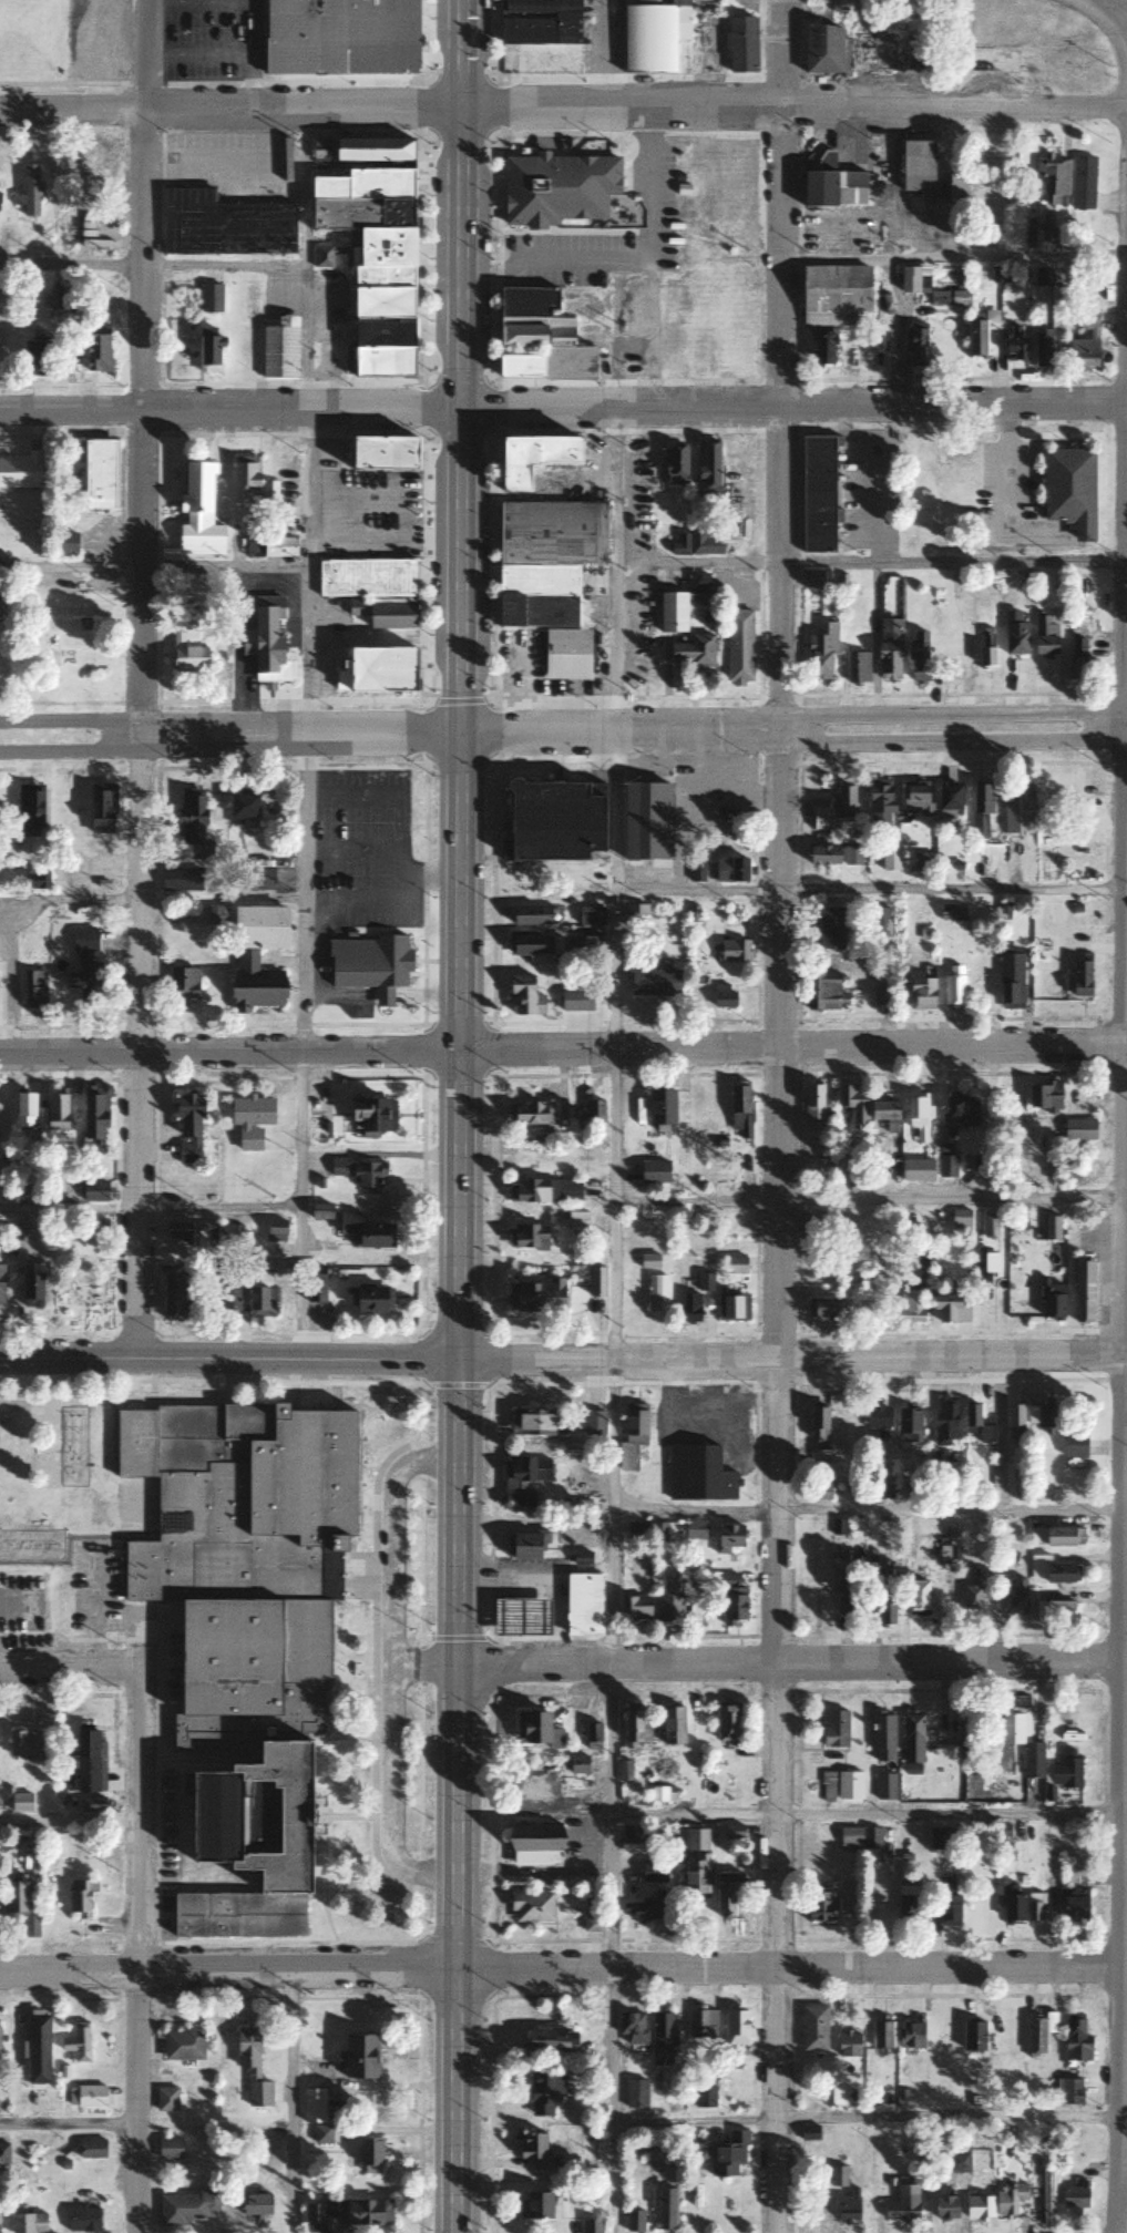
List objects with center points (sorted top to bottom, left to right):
building: (837, 1)
road: (1085, 7)
road: (1115, 14)
building: (540, 22)
building: (338, 37)
building: (648, 38)
road: (1119, 41)
building: (740, 45)
building: (98, 48)
building: (846, 52)
building: (64, 57)
road: (791, 109)
road: (227, 110)
building: (918, 170)
building: (1053, 178)
building: (1083, 183)
building: (832, 186)
building: (950, 187)
building: (557, 190)
building: (30, 191)
building: (360, 213)
building: (222, 224)
building: (1048, 229)
building: (322, 258)
road: (799, 258)
road: (151, 264)
building: (1002, 274)
building: (1042, 276)
building: (909, 279)
building: (834, 296)
building: (209, 298)
building: (946, 298)
building: (739, 335)
building: (539, 342)
building: (1085, 342)
building: (916, 345)
building: (1016, 345)
building: (96, 348)
building: (1042, 348)
building: (279, 349)
building: (823, 349)
building: (208, 350)
building: (32, 358)
building: (381, 362)
road: (791, 404)
road: (227, 408)
building: (381, 454)
building: (532, 459)
building: (674, 467)
building: (707, 470)
building: (20, 472)
building: (98, 475)
building: (244, 477)
building: (1069, 488)
building: (817, 494)
building: (197, 513)
building: (997, 537)
building: (704, 543)
building: (63, 544)
building: (262, 547)
road: (869, 561)
road: (152, 567)
building: (549, 577)
building: (811, 580)
building: (372, 591)
building: (672, 613)
building: (1014, 635)
building: (1044, 636)
building: (266, 644)
building: (177, 645)
building: (738, 648)
building: (691, 653)
building: (888, 653)
building: (821, 654)
building: (918, 658)
building: (985, 658)
building: (1076, 660)
building: (857, 669)
building: (375, 672)
road: (141, 679)
road: (951, 715)
road: (71, 721)
road: (618, 730)
road: (299, 731)
road: (303, 735)
road: (951, 742)
road: (71, 751)
building: (914, 797)
building: (949, 802)
building: (844, 803)
building: (879, 805)
building: (1016, 808)
building: (29, 809)
building: (100, 809)
building: (242, 809)
building: (980, 811)
building: (821, 819)
building: (553, 821)
building: (191, 822)
building: (645, 822)
building: (851, 856)
building: (822, 857)
building: (890, 860)
building: (730, 870)
building: (697, 871)
building: (181, 879)
building: (256, 880)
road: (871, 889)
road: (69, 900)
building: (952, 913)
building: (216, 915)
building: (530, 915)
building: (635, 915)
building: (590, 916)
building: (879, 922)
building: (257, 929)
building: (830, 929)
building: (533, 944)
building: (591, 944)
building: (734, 952)
building: (83, 965)
building: (369, 965)
building: (1010, 977)
building: (1080, 980)
building: (654, 983)
building: (182, 985)
building: (255, 985)
building: (953, 986)
building: (34, 990)
building: (824, 992)
building: (921, 995)
building: (723, 996)
building: (883, 996)
building: (523, 997)
building: (575, 1001)
road: (792, 1046)
road: (228, 1051)
building: (1044, 1097)
building: (812, 1105)
building: (853, 1106)
building: (22, 1112)
building: (593, 1112)
building: (739, 1112)
building: (660, 1113)
building: (54, 1114)
building: (530, 1115)
building: (959, 1115)
road: (458, 1116)
road: (778, 1116)
building: (884, 1116)
building: (92, 1118)
building: (368, 1118)
building: (250, 1121)
building: (916, 1121)
building: (187, 1130)
building: (1078, 1130)
building: (945, 1167)
building: (916, 1171)
building: (654, 1174)
building: (361, 1176)
building: (877, 1179)
building: (93, 1192)
building: (543, 1192)
road: (865, 1199)
road: (147, 1209)
building: (319, 1213)
building: (960, 1220)
road: (1118, 1220)
building: (575, 1222)
building: (813, 1225)
building: (96, 1228)
building: (988, 1228)
building: (1051, 1230)
building: (0, 1232)
building: (275, 1233)
building: (363, 1233)
building: (203, 1236)
building: (526, 1239)
building: (648, 1263)
building: (734, 1267)
building: (985, 1273)
building: (595, 1283)
building: (704, 1283)
building: (1, 1285)
building: (78, 1285)
building: (314, 1287)
building: (260, 1291)
building: (30, 1292)
building: (1083, 1292)
building: (656, 1294)
building: (228, 1295)
building: (535, 1298)
building: (174, 1299)
building: (369, 1301)
building: (1051, 1302)
building: (910, 1308)
building: (689, 1309)
building: (732, 1309)
building: (822, 1310)
building: (950, 1310)
road: (613, 1319)
road: (792, 1358)
road: (229, 1360)
building: (1041, 1417)
building: (877, 1420)
building: (944, 1422)
building: (534, 1423)
building: (1014, 1423)
building: (593, 1424)
building: (975, 1425)
building: (908, 1426)
building: (818, 1427)
road: (997, 1433)
building: (633, 1435)
building: (708, 1452)
building: (1017, 1464)
building: (521, 1481)
building: (817, 1493)
road: (864, 1510)
building: (695, 1530)
building: (656, 1533)
building: (1057, 1537)
building: (727, 1538)
building: (524, 1544)
building: (581, 1557)
building: (882, 1569)
building: (1051, 1570)
building: (843, 1591)
building: (972, 1595)
building: (1016, 1595)
building: (916, 1597)
building: (730, 1598)
road: (20, 1604)
building: (581, 1604)
building: (669, 1606)
building: (633, 1609)
building: (1055, 1610)
building: (885, 1612)
building: (521, 1614)
building: (244, 1629)
road: (787, 1663)
road: (391, 1667)
road: (424, 1667)
road: (68, 1671)
building: (727, 1722)
building: (635, 1724)
building: (670, 1724)
building: (1011, 1724)
building: (536, 1729)
building: (834, 1729)
building: (594, 1732)
building: (882, 1735)
building: (912, 1738)
building: (24, 1744)
building: (1033, 1759)
building: (577, 1764)
building: (624, 1766)
building: (1064, 1770)
building: (849, 1785)
building: (529, 1786)
building: (884, 1786)
building: (657, 1794)
building: (20, 1802)
building: (91, 1804)
road: (863, 1813)
road: (61, 1814)
building: (732, 1832)
building: (533, 1836)
building: (939, 1837)
building: (860, 1838)
building: (695, 1861)
building: (632, 1879)
building: (726, 1893)
building: (80, 1897)
building: (946, 1899)
building: (906, 1903)
building: (1012, 1903)
building: (1075, 1904)
building: (20, 1905)
building: (820, 1905)
building: (531, 1906)
building: (1034, 1907)
building: (645, 1908)
building: (591, 1924)
road: (135, 1953)
road: (786, 1967)
road: (227, 1970)
building: (701, 2022)
building: (632, 2027)
building: (813, 2027)
building: (1038, 2031)
building: (910, 2032)
building: (881, 2034)
building: (973, 2035)
building: (736, 2036)
building: (551, 2038)
building: (662, 2038)
building: (1076, 2038)
building: (76, 2042)
building: (182, 2043)
building: (847, 2043)
building: (359, 2055)
building: (37, 2061)
building: (250, 2068)
building: (1068, 2090)
building: (544, 2091)
building: (635, 2093)
building: (90, 2096)
building: (704, 2097)
building: (165, 2098)
road: (293, 2101)
building: (313, 2104)
road: (863, 2117)
road: (68, 2123)
building: (809, 2132)
building: (91, 2148)
building: (168, 2148)
building: (534, 2149)
building: (368, 2150)
building: (3, 2153)
building: (728, 2154)
building: (957, 2161)
building: (838, 2175)
building: (1074, 2196)
building: (1047, 2198)
building: (1008, 2199)
building: (255, 2204)
building: (534, 2204)
building: (902, 2204)
building: (847, 2206)
building: (944, 2206)
building: (979, 2206)
building: (186, 2208)
building: (663, 2209)
building: (347, 2213)
building: (82, 2219)
building: (634, 2221)
building: (28, 2222)
building: (590, 2226)

